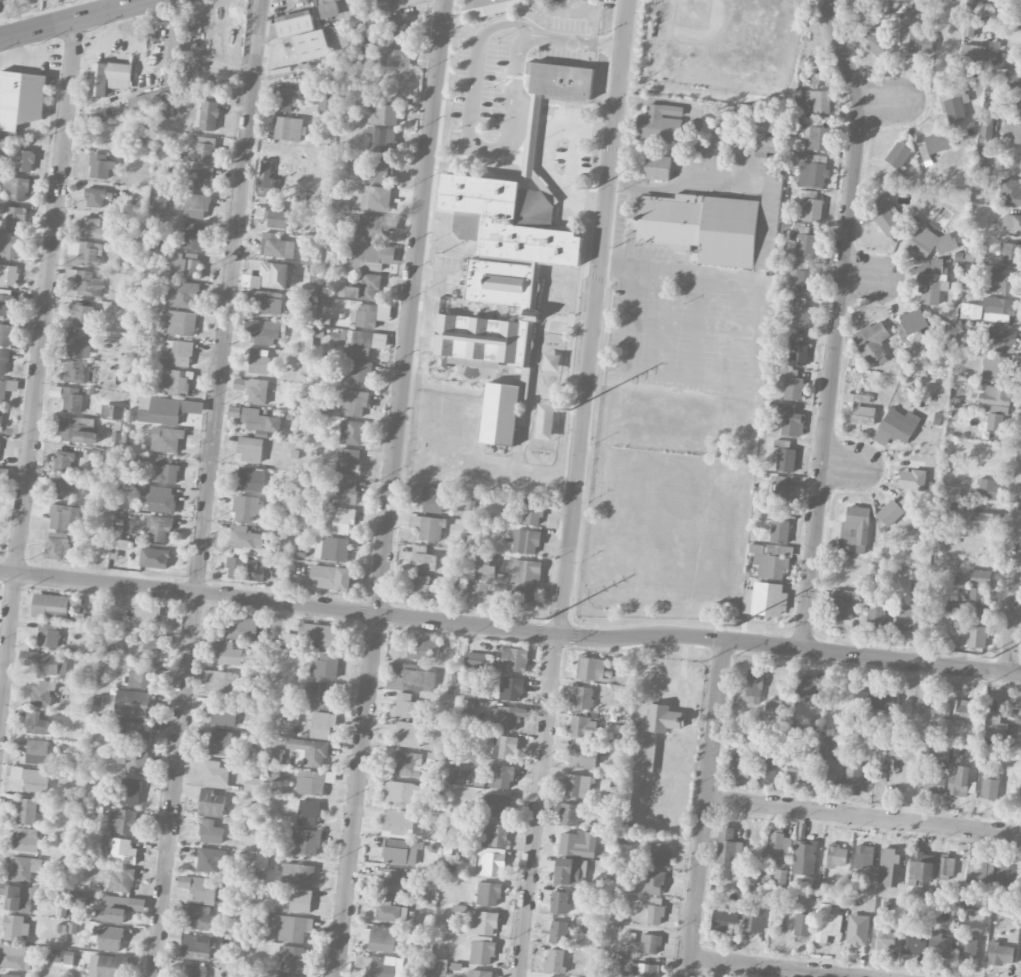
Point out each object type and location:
building: (884, 1)
road: (115, 5)
building: (977, 6)
building: (491, 7)
building: (328, 8)
road: (77, 19)
building: (291, 25)
building: (400, 26)
building: (969, 28)
building: (871, 32)
road: (1012, 39)
road: (576, 42)
building: (916, 42)
building: (880, 46)
building: (298, 47)
building: (173, 55)
building: (396, 55)
building: (972, 56)
building: (1009, 68)
building: (109, 77)
building: (285, 99)
building: (20, 100)
building: (150, 100)
building: (326, 102)
building: (819, 102)
road: (884, 104)
building: (1017, 104)
building: (954, 110)
building: (170, 111)
building: (385, 112)
building: (209, 116)
building: (660, 123)
building: (764, 124)
building: (288, 129)
building: (1013, 131)
road: (469, 137)
building: (381, 139)
building: (819, 139)
building: (937, 142)
building: (765, 144)
building: (204, 150)
road: (549, 155)
building: (898, 155)
building: (925, 155)
road: (572, 159)
building: (23, 160)
building: (100, 166)
building: (657, 167)
building: (382, 170)
building: (813, 174)
building: (200, 177)
building: (268, 182)
building: (319, 184)
road: (679, 184)
power tower: (595, 188)
building: (17, 189)
building: (1010, 192)
building: (95, 198)
building: (376, 199)
building: (194, 205)
building: (813, 210)
building: (886, 215)
building: (276, 216)
building: (13, 218)
building: (1011, 222)
building: (714, 225)
building: (374, 226)
building: (93, 228)
building: (194, 237)
building: (508, 237)
building: (929, 244)
building: (10, 245)
building: (277, 246)
building: (807, 246)
building: (85, 252)
building: (1011, 253)
building: (367, 255)
building: (186, 265)
building: (8, 275)
building: (71, 275)
building: (269, 276)
road: (867, 279)
building: (999, 280)
building: (804, 282)
building: (89, 284)
building: (931, 285)
building: (362, 289)
building: (181, 294)
building: (6, 302)
building: (83, 302)
building: (270, 306)
building: (998, 309)
building: (972, 311)
building: (81, 314)
building: (364, 316)
road: (592, 317)
building: (801, 318)
road: (837, 321)
building: (180, 323)
building: (913, 327)
building: (306, 329)
building: (266, 332)
building: (5, 335)
building: (999, 337)
building: (872, 342)
building: (77, 344)
building: (364, 344)
building: (796, 350)
building: (180, 353)
road: (38, 360)
building: (258, 361)
building: (3, 362)
road: (747, 366)
building: (995, 366)
building: (75, 371)
building: (356, 373)
building: (176, 382)
building: (790, 385)
building: (7, 389)
building: (252, 390)
building: (995, 396)
building: (71, 400)
building: (354, 403)
power tower: (572, 407)
building: (165, 410)
building: (862, 411)
building: (112, 412)
building: (234, 412)
building: (500, 414)
building: (791, 420)
building: (1, 421)
building: (259, 421)
building: (992, 422)
building: (896, 427)
building: (77, 429)
building: (351, 433)
building: (0, 439)
building: (166, 440)
building: (250, 450)
building: (91, 455)
building: (785, 456)
building: (64, 461)
building: (347, 461)
road: (847, 466)
building: (167, 471)
building: (911, 476)
building: (248, 479)
building: (62, 487)
road: (206, 488)
road: (390, 488)
building: (987, 488)
building: (345, 491)
building: (415, 494)
building: (783, 495)
building: (159, 499)
building: (434, 503)
building: (247, 508)
building: (532, 512)
building: (890, 513)
building: (64, 517)
building: (343, 520)
building: (974, 520)
building: (855, 526)
building: (428, 527)
building: (159, 528)
building: (779, 531)
building: (245, 538)
building: (526, 541)
building: (57, 546)
building: (331, 549)
building: (154, 558)
building: (423, 558)
building: (483, 559)
building: (244, 568)
building: (485, 572)
building: (526, 572)
building: (331, 578)
building: (980, 578)
building: (426, 588)
building: (479, 589)
building: (522, 598)
building: (764, 600)
building: (976, 603)
building: (49, 604)
building: (842, 605)
road: (361, 613)
road: (1014, 613)
building: (56, 616)
building: (143, 617)
building: (878, 617)
power tower: (547, 619)
building: (906, 620)
power tower: (740, 625)
building: (241, 629)
building: (48, 635)
building: (316, 635)
building: (973, 637)
building: (151, 647)
building: (422, 648)
building: (228, 654)
road: (872, 657)
power tower: (996, 659)
building: (475, 660)
building: (514, 660)
building: (44, 663)
building: (324, 666)
building: (590, 668)
building: (141, 675)
building: (411, 679)
building: (221, 681)
building: (753, 686)
building: (806, 687)
building: (511, 689)
building: (42, 694)
building: (318, 695)
building: (583, 698)
building: (874, 700)
building: (132, 703)
building: (773, 705)
building: (407, 706)
building: (965, 710)
building: (224, 713)
building: (506, 717)
building: (1017, 719)
building: (992, 721)
building: (36, 724)
building: (320, 725)
building: (583, 727)
building: (753, 733)
building: (134, 734)
building: (408, 734)
building: (653, 735)
building: (222, 743)
building: (504, 747)
building: (906, 750)
building: (36, 752)
building: (309, 752)
building: (274, 756)
building: (583, 757)
building: (436, 760)
building: (134, 762)
building: (769, 762)
building: (406, 764)
building: (741, 766)
building: (831, 766)
building: (798, 771)
building: (215, 775)
building: (501, 777)
building: (853, 779)
building: (962, 780)
building: (310, 783)
building: (934, 783)
building: (251, 786)
building: (578, 786)
building: (989, 789)
building: (130, 792)
building: (402, 793)
building: (498, 803)
building: (211, 804)
road: (538, 806)
road: (705, 808)
building: (26, 811)
building: (308, 813)
building: (569, 815)
road: (864, 816)
building: (123, 821)
building: (396, 822)
building: (210, 832)
building: (497, 836)
building: (25, 840)
building: (306, 841)
building: (578, 844)
building: (778, 844)
building: (728, 850)
building: (123, 851)
building: (402, 852)
building: (660, 855)
building: (836, 856)
building: (862, 857)
building: (804, 858)
building: (210, 860)
building: (490, 862)
building: (921, 866)
building: (889, 867)
building: (946, 867)
building: (23, 869)
building: (570, 872)
building: (298, 874)
building: (981, 875)
building: (1007, 875)
building: (121, 880)
building: (391, 880)
building: (654, 883)
building: (200, 889)
building: (488, 894)
building: (18, 897)
building: (301, 900)
building: (559, 902)
building: (78, 903)
building: (118, 908)
building: (388, 911)
building: (655, 911)
building: (200, 917)
building: (753, 919)
building: (723, 920)
building: (483, 923)
building: (802, 925)
building: (827, 926)
building: (15, 928)
building: (292, 928)
building: (558, 932)
building: (109, 938)
building: (629, 938)
building: (382, 939)
building: (882, 939)
building: (913, 942)
building: (195, 943)
building: (651, 944)
building: (939, 946)
building: (967, 947)
building: (482, 950)
building: (999, 954)
building: (51, 955)
building: (15, 957)
building: (292, 958)
building: (555, 960)
building: (438, 965)
building: (108, 966)
building: (382, 966)
road: (766, 968)
building: (647, 969)
building: (195, 971)
building: (478, 973)
building: (9, 975)
building: (284, 975)

